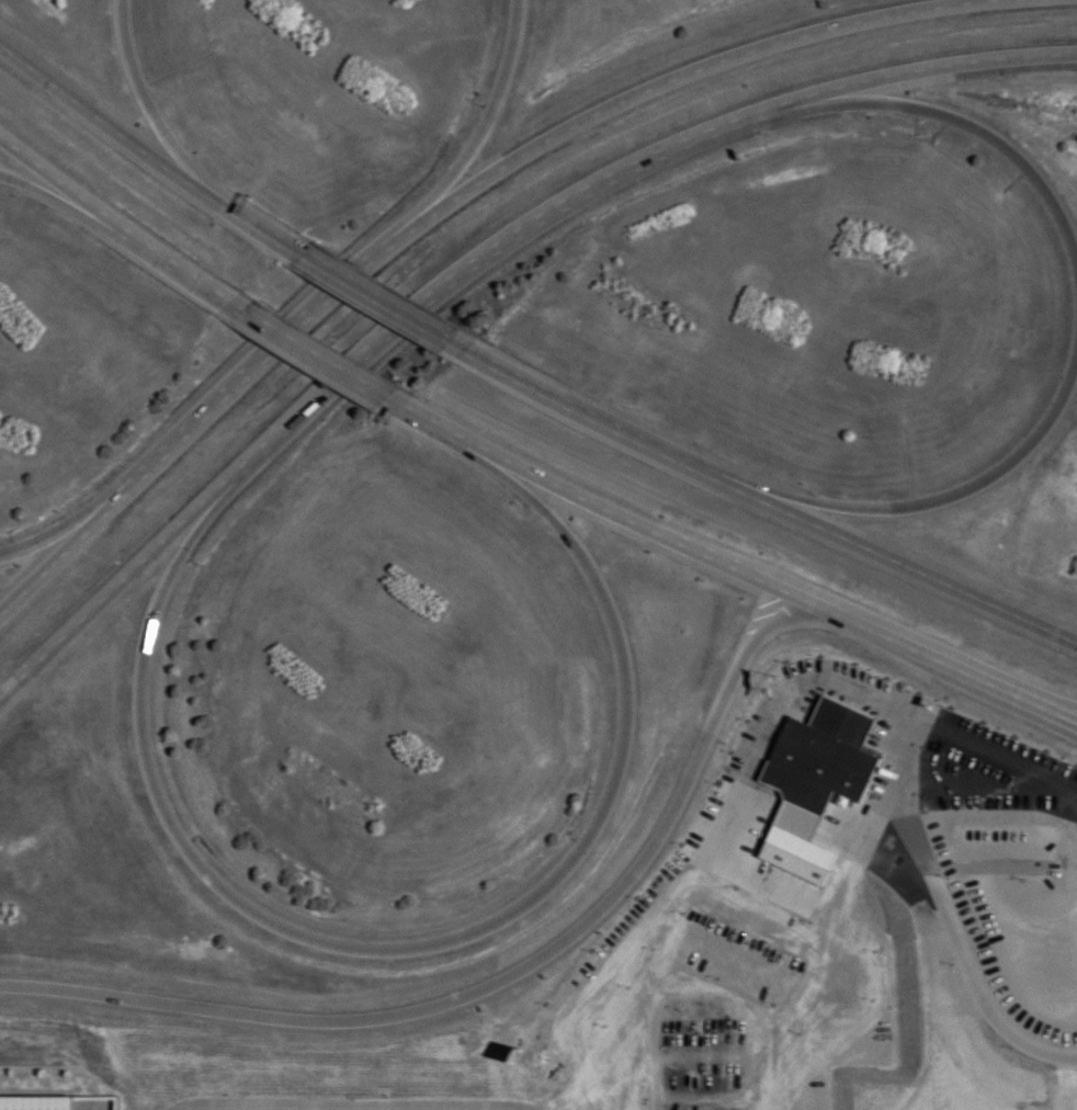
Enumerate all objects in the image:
road: (948, 68)
road: (144, 98)
road: (972, 121)
road: (488, 123)
road: (143, 150)
road: (488, 174)
road: (42, 190)
road: (115, 228)
road: (484, 256)
road: (375, 298)
road: (317, 358)
road: (603, 422)
road: (444, 431)
road: (939, 503)
road: (47, 541)
road: (47, 562)
road: (912, 568)
road: (751, 576)
road: (101, 597)
road: (1044, 702)
road: (1043, 715)
road: (1074, 730)
building: (826, 760)
road: (744, 782)
road: (946, 919)
building: (871, 942)
road: (415, 949)
road: (507, 979)
building: (841, 986)
road: (437, 1108)

